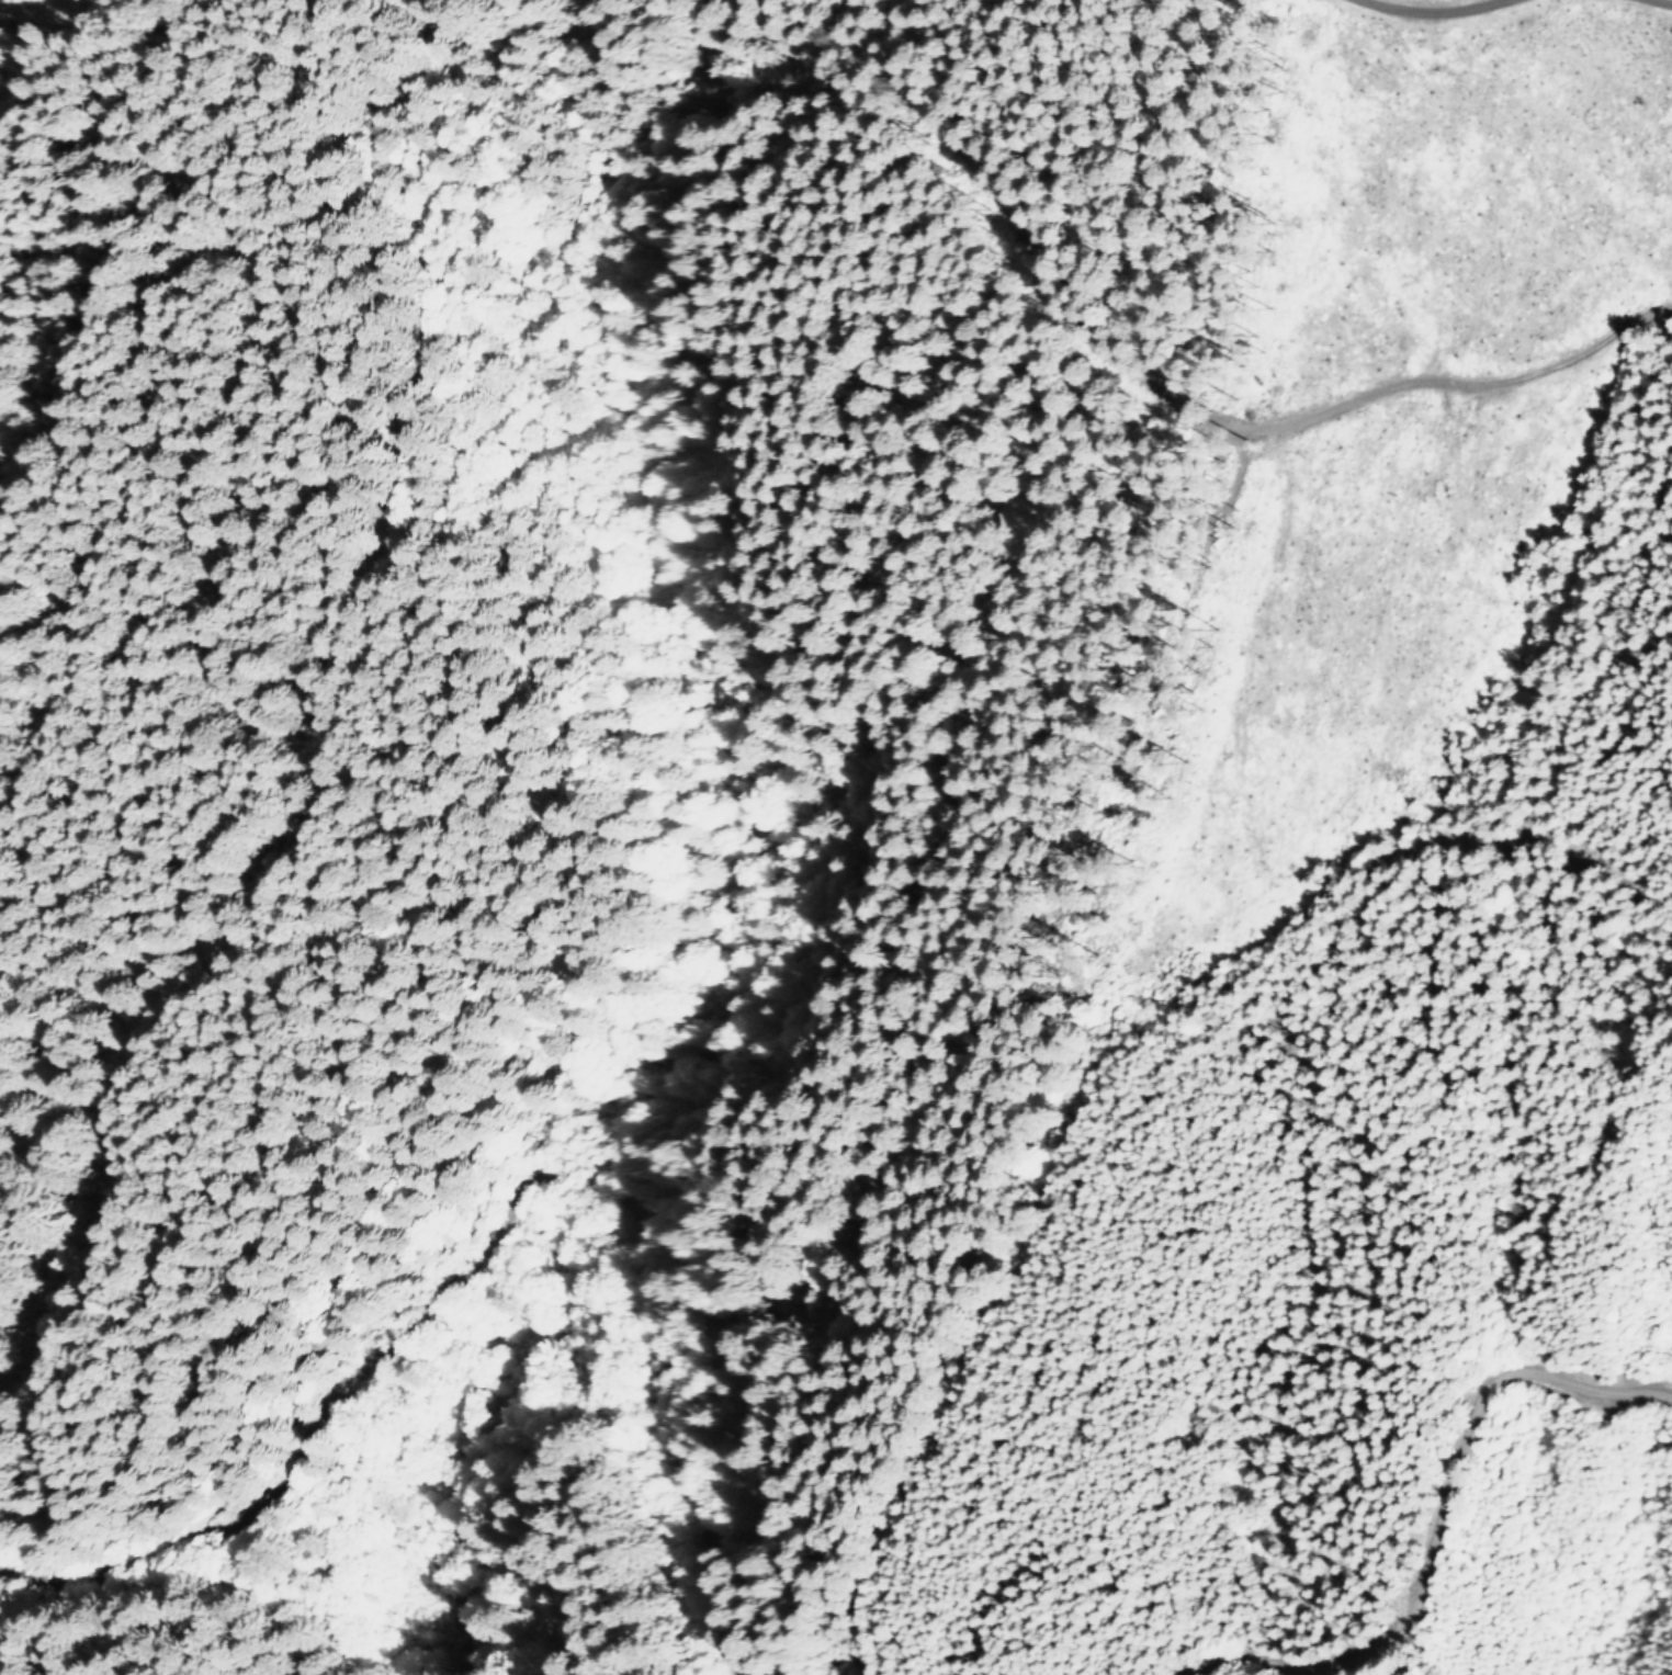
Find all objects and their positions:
road: (1410, 20)
crop: (991, 513)
road: (1595, 874)
road: (489, 1213)
road: (1430, 1517)

